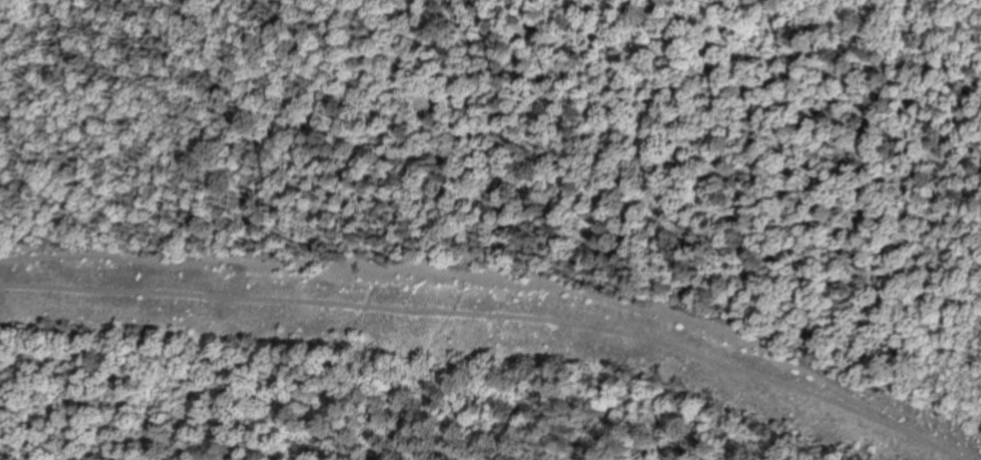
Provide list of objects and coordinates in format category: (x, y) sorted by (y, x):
road: (509, 273)

